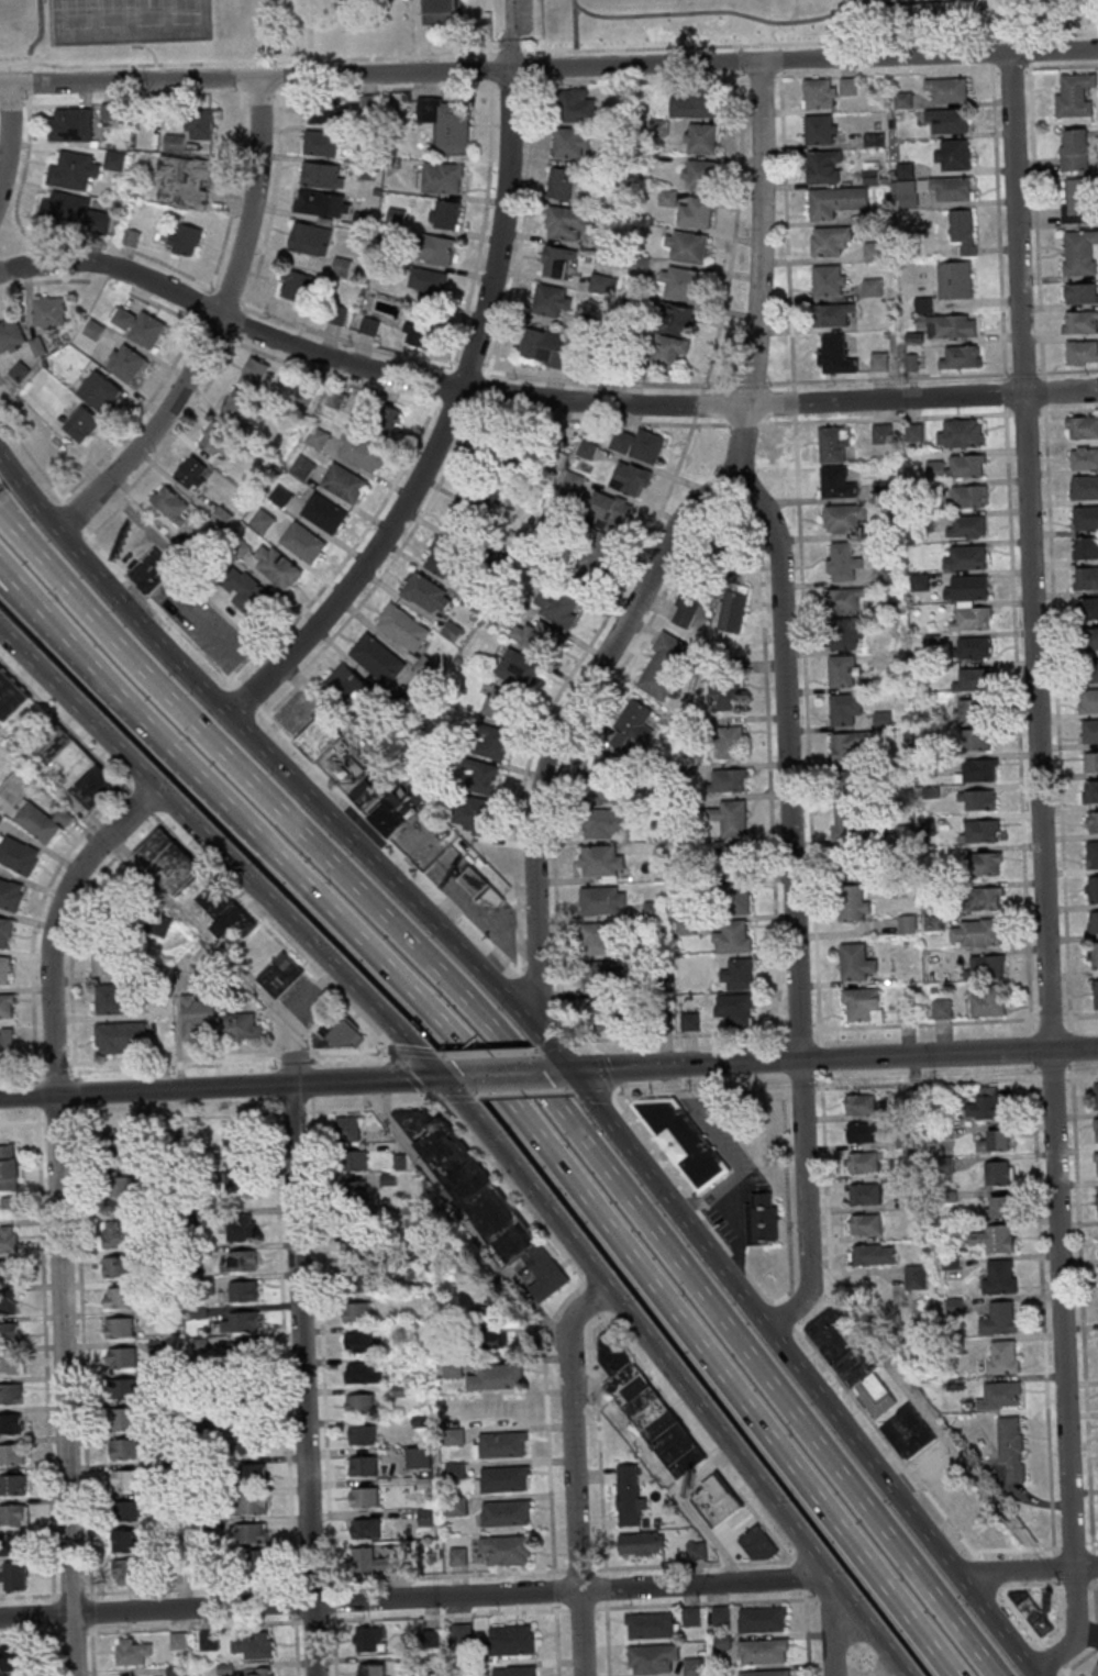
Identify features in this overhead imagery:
road: (575, 2)
road: (1078, 5)
park: (185, 11)
building: (442, 11)
park: (111, 12)
park: (147, 12)
park: (74, 13)
parking lot: (517, 16)
park: (800, 19)
road: (758, 20)
road: (418, 29)
road: (575, 29)
road: (307, 30)
park: (126, 31)
road: (37, 32)
road: (487, 35)
road: (508, 35)
road: (812, 42)
road: (148, 48)
road: (511, 53)
road: (991, 59)
road: (803, 60)
road: (247, 62)
road: (780, 66)
road: (742, 67)
road: (385, 75)
road: (130, 82)
building: (850, 85)
building: (947, 89)
building: (820, 92)
building: (1075, 96)
building: (694, 103)
road: (29, 104)
building: (579, 104)
building: (110, 111)
building: (329, 111)
building: (947, 120)
building: (448, 123)
building: (71, 124)
building: (201, 124)
building: (820, 129)
road: (7, 137)
building: (702, 138)
building: (875, 138)
building: (324, 141)
building: (572, 143)
building: (1074, 148)
building: (954, 155)
building: (115, 162)
building: (824, 166)
building: (905, 169)
building: (74, 170)
building: (872, 173)
building: (322, 175)
building: (700, 175)
building: (444, 177)
building: (186, 181)
building: (562, 185)
building: (931, 189)
building: (1080, 199)
building: (836, 201)
building: (323, 202)
building: (67, 207)
building: (698, 212)
building: (445, 214)
building: (567, 224)
building: (964, 229)
road: (787, 230)
road: (734, 233)
building: (186, 238)
building: (311, 238)
building: (831, 240)
building: (689, 248)
building: (441, 249)
building: (875, 251)
building: (1079, 252)
building: (558, 263)
building: (342, 266)
road: (113, 267)
road: (759, 275)
building: (830, 279)
building: (955, 279)
building: (430, 284)
building: (683, 284)
building: (299, 286)
building: (873, 286)
building: (1083, 293)
building: (553, 300)
building: (923, 304)
building: (49, 312)
building: (832, 314)
building: (1080, 322)
building: (950, 324)
building: (140, 326)
road: (213, 326)
building: (370, 326)
building: (95, 330)
building: (420, 331)
building: (673, 334)
building: (11, 336)
building: (545, 346)
building: (1082, 352)
building: (835, 355)
building: (962, 356)
building: (879, 360)
building: (129, 363)
building: (257, 374)
building: (101, 391)
building: (335, 399)
road: (794, 401)
road: (698, 404)
road: (652, 406)
building: (243, 407)
building: (82, 423)
road: (444, 424)
building: (1082, 426)
building: (914, 432)
building: (961, 432)
building: (881, 433)
building: (318, 439)
building: (217, 440)
building: (834, 443)
building: (640, 445)
building: (588, 449)
building: (507, 451)
building: (364, 453)
road: (31, 456)
building: (1085, 457)
building: (956, 466)
building: (303, 467)
building: (193, 473)
building: (632, 479)
building: (838, 482)
building: (344, 484)
building: (1085, 487)
building: (281, 496)
building: (967, 496)
building: (171, 506)
building: (469, 511)
building: (612, 511)
building: (325, 513)
road: (73, 514)
building: (222, 517)
building: (844, 517)
building: (1085, 518)
building: (263, 520)
road: (9, 524)
building: (967, 526)
building: (303, 542)
road: (1011, 547)
building: (1085, 548)
building: (964, 556)
building: (442, 557)
building: (598, 557)
building: (843, 560)
road: (774, 565)
building: (277, 566)
road: (765, 566)
building: (153, 570)
building: (1085, 577)
road: (10, 582)
road: (10, 588)
building: (967, 588)
building: (428, 592)
building: (249, 593)
building: (845, 599)
building: (558, 603)
building: (683, 606)
building: (734, 607)
road: (158, 608)
building: (1088, 608)
building: (972, 618)
building: (403, 626)
building: (453, 630)
building: (845, 633)
building: (534, 636)
building: (1089, 639)
building: (972, 647)
road: (165, 651)
building: (378, 658)
building: (425, 665)
road: (576, 665)
building: (664, 666)
building: (519, 668)
building: (1090, 669)
building: (843, 670)
building: (975, 679)
building: (347, 687)
building: (727, 692)
building: (10, 697)
road: (247, 697)
building: (1088, 700)
building: (502, 704)
building: (845, 709)
road: (65, 724)
building: (980, 724)
building: (633, 728)
building: (1089, 730)
road: (559, 731)
building: (318, 739)
building: (495, 742)
building: (731, 742)
building: (853, 747)
building: (1090, 761)
building: (76, 769)
building: (979, 769)
building: (484, 776)
building: (610, 777)
building: (729, 780)
building: (851, 787)
building: (1090, 790)
building: (977, 799)
road: (141, 801)
building: (475, 813)
building: (731, 818)
building: (1091, 820)
building: (43, 821)
building: (603, 824)
building: (847, 826)
building: (980, 830)
road: (389, 840)
building: (1091, 854)
building: (19, 855)
building: (602, 861)
building: (167, 862)
building: (737, 862)
building: (985, 863)
road: (773, 864)
road: (1042, 873)
road: (813, 878)
road: (149, 883)
building: (475, 883)
building: (1091, 888)
building: (11, 894)
building: (737, 897)
building: (984, 898)
building: (603, 900)
building: (855, 902)
road: (792, 908)
building: (226, 912)
road: (36, 919)
building: (1093, 921)
building: (908, 923)
road: (77, 925)
road: (279, 929)
building: (5, 932)
building: (976, 932)
building: (734, 936)
building: (597, 939)
road: (517, 942)
building: (1094, 954)
building: (858, 962)
road: (517, 963)
building: (107, 964)
building: (988, 965)
building: (5, 969)
road: (558, 972)
building: (739, 974)
building: (280, 975)
building: (601, 977)
building: (1096, 992)
road: (541, 995)
road: (1068, 999)
building: (111, 1000)
building: (989, 1001)
building: (863, 1005)
building: (200, 1007)
building: (7, 1008)
building: (943, 1009)
building: (736, 1010)
road: (273, 1014)
road: (1079, 1014)
road: (1050, 1017)
building: (243, 1026)
road: (801, 1029)
building: (340, 1034)
building: (121, 1039)
road: (552, 1044)
building: (7, 1045)
road: (1071, 1046)
road: (1032, 1047)
road: (351, 1050)
road: (488, 1051)
road: (415, 1052)
road: (293, 1053)
road: (312, 1057)
road: (822, 1058)
road: (138, 1059)
traffic signals: (568, 1070)
road: (412, 1073)
road: (1080, 1074)
road: (507, 1075)
road: (1052, 1076)
traffic signals: (437, 1077)
road: (312, 1079)
road: (928, 1081)
road: (532, 1083)
road: (232, 1086)
road: (675, 1088)
road: (752, 1090)
road: (76, 1091)
road: (612, 1091)
road: (524, 1092)
road: (36, 1095)
road: (458, 1096)
building: (1096, 1096)
building: (985, 1102)
building: (863, 1103)
road: (511, 1111)
road: (291, 1112)
road: (137, 1118)
building: (348, 1129)
road: (480, 1129)
building: (1096, 1129)
building: (863, 1132)
building: (237, 1139)
building: (169, 1141)
building: (684, 1141)
building: (995, 1141)
building: (114, 1143)
building: (353, 1161)
building: (863, 1162)
building: (1096, 1163)
building: (9, 1166)
building: (1000, 1173)
building: (236, 1181)
building: (122, 1187)
building: (863, 1194)
building: (353, 1196)
building: (1097, 1201)
building: (999, 1206)
road: (58, 1212)
building: (762, 1218)
building: (865, 1223)
building: (242, 1227)
building: (118, 1234)
building: (992, 1237)
building: (9, 1239)
building: (520, 1246)
road: (703, 1246)
building: (354, 1251)
building: (872, 1254)
road: (566, 1256)
building: (243, 1259)
building: (113, 1266)
building: (9, 1272)
building: (916, 1276)
building: (999, 1276)
building: (358, 1281)
building: (244, 1291)
building: (121, 1297)
road: (590, 1298)
building: (10, 1301)
road: (1043, 1309)
building: (358, 1311)
road: (787, 1312)
road: (299, 1314)
building: (999, 1318)
building: (246, 1322)
building: (119, 1327)
building: (10, 1331)
building: (485, 1333)
road: (555, 1334)
building: (363, 1342)
road: (595, 1345)
building: (159, 1346)
road: (284, 1347)
road: (84, 1350)
road: (45, 1354)
building: (244, 1354)
building: (122, 1356)
building: (1002, 1356)
building: (11, 1362)
building: (852, 1363)
building: (453, 1368)
building: (363, 1373)
road: (1085, 1375)
building: (498, 1377)
road: (323, 1386)
building: (129, 1388)
road: (597, 1390)
building: (11, 1392)
building: (1001, 1394)
building: (361, 1402)
building: (647, 1408)
building: (124, 1418)
building: (421, 1422)
building: (12, 1423)
building: (908, 1432)
building: (363, 1434)
road: (695, 1436)
building: (248, 1438)
road: (886, 1441)
building: (503, 1444)
building: (1011, 1446)
building: (125, 1450)
building: (12, 1454)
building: (420, 1458)
building: (363, 1466)
road: (573, 1473)
building: (252, 1474)
building: (504, 1479)
building: (127, 1480)
building: (13, 1484)
road: (600, 1489)
building: (630, 1496)
building: (364, 1497)
building: (716, 1500)
building: (252, 1505)
building: (458, 1506)
building: (127, 1512)
building: (507, 1512)
building: (13, 1514)
building: (430, 1518)
building: (366, 1529)
building: (254, 1532)
building: (125, 1543)
building: (642, 1543)
building: (757, 1544)
road: (1093, 1544)
building: (12, 1545)
road: (1073, 1545)
building: (507, 1549)
road: (1014, 1549)
building: (697, 1551)
building: (458, 1556)
building: (374, 1562)
road: (1054, 1567)
road: (1028, 1570)
building: (129, 1572)
road: (988, 1573)
road: (436, 1575)
building: (14, 1576)
road: (605, 1587)
road: (555, 1589)
road: (71, 1594)
road: (29, 1595)
road: (819, 1597)
road: (414, 1598)
road: (823, 1601)
road: (706, 1602)
parking lot: (1097, 1606)
road: (581, 1608)
road: (91, 1609)
road: (54, 1612)
building: (721, 1616)
building: (692, 1617)
road: (328, 1620)
building: (763, 1620)
road: (830, 1624)
building: (651, 1625)
road: (74, 1631)
building: (461, 1632)
road: (31, 1633)
building: (370, 1638)
road: (557, 1638)
road: (608, 1638)
building: (513, 1639)
building: (178, 1640)
building: (209, 1640)
road: (1042, 1640)
building: (722, 1643)
building: (255, 1645)
road: (92, 1650)
road: (55, 1651)
building: (132, 1651)
building: (764, 1652)
building: (19, 1657)
building: (653, 1658)
road: (1054, 1658)
road: (868, 1660)
building: (692, 1667)
building: (374, 1669)
building: (517, 1671)
building: (262, 1672)
building: (1096, 1672)
building: (766, 1674)
building: (132, 1675)

